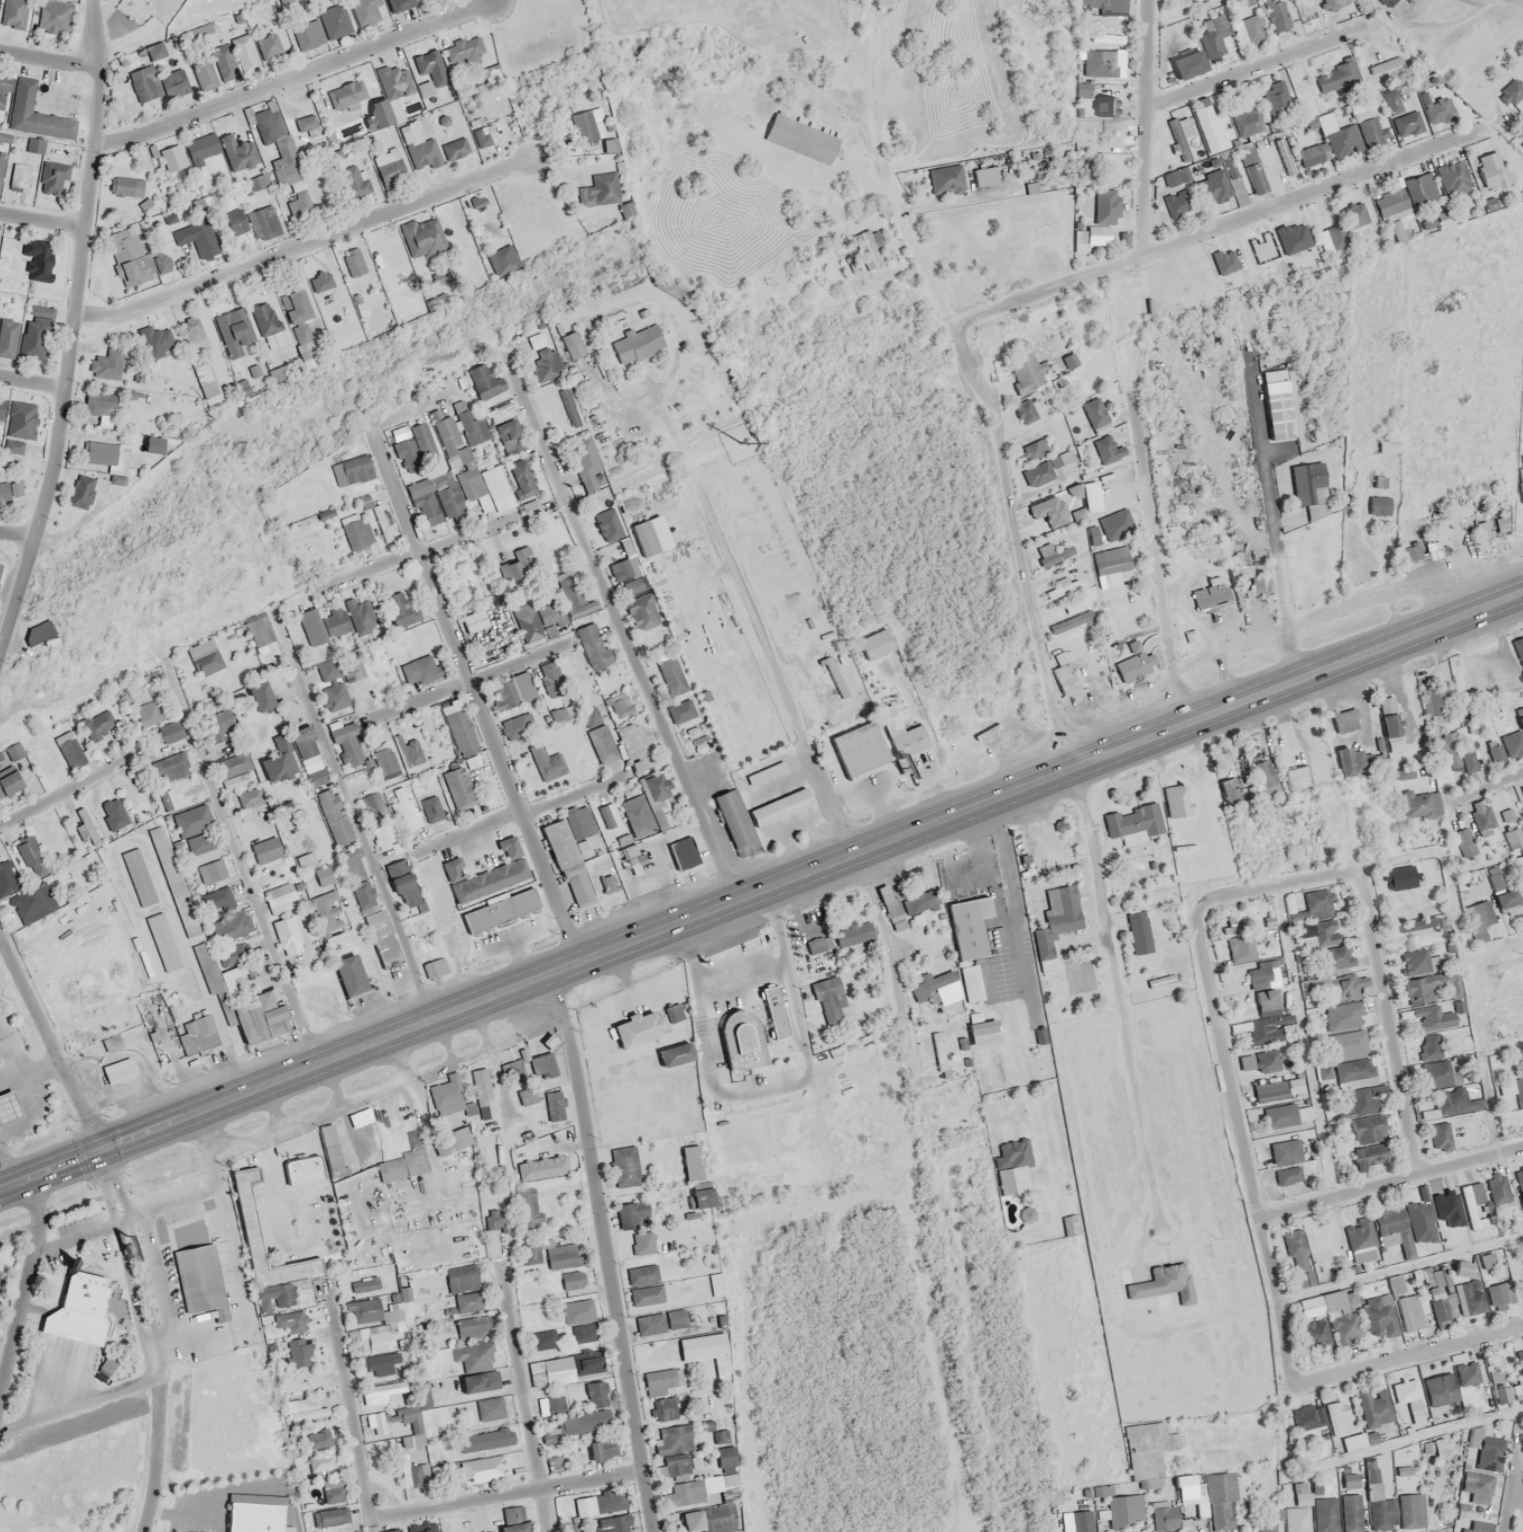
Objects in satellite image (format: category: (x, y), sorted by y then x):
road: (1522, 0)
building: (1385, 2)
building: (400, 4)
building: (1101, 7)
building: (365, 11)
building: (15, 13)
building: (1276, 15)
building: (54, 16)
building: (334, 21)
building: (1246, 29)
building: (308, 34)
building: (1212, 35)
building: (1106, 39)
building: (462, 49)
building: (245, 53)
road: (43, 57)
building: (426, 61)
building: (224, 62)
building: (1099, 63)
building: (1187, 64)
road: (1256, 67)
building: (203, 72)
road: (296, 73)
building: (1336, 76)
building: (144, 83)
building: (173, 83)
building: (4, 89)
building: (346, 93)
building: (1513, 95)
building: (1275, 97)
building: (1104, 106)
building: (35, 114)
building: (1400, 116)
building: (268, 122)
building: (1246, 122)
road: (1145, 128)
building: (1208, 128)
building: (409, 132)
building: (1355, 133)
building: (202, 146)
building: (454, 148)
building: (238, 152)
building: (1312, 154)
building: (386, 157)
building: (172, 158)
building: (1489, 169)
building: (287, 175)
building: (20, 176)
building: (985, 176)
building: (1175, 176)
building: (52, 178)
building: (1453, 178)
building: (945, 179)
building: (259, 181)
building: (354, 182)
building: (126, 186)
building: (1419, 188)
building: (599, 189)
building: (1215, 189)
building: (1390, 201)
building: (1104, 207)
building: (1354, 215)
road: (43, 219)
building: (235, 221)
building: (265, 222)
building: (1027, 222)
road: (1222, 227)
building: (198, 237)
building: (427, 239)
building: (1331, 239)
road: (307, 243)
building: (870, 251)
building: (130, 257)
building: (38, 259)
building: (357, 260)
building: (264, 318)
building: (191, 328)
building: (299, 329)
road: (74, 330)
building: (233, 330)
building: (8, 337)
building: (34, 338)
building: (156, 342)
building: (572, 344)
building: (637, 344)
building: (542, 356)
building: (107, 364)
road: (980, 378)
road: (33, 380)
building: (484, 381)
building: (98, 403)
building: (2, 407)
building: (1093, 412)
building: (570, 413)
road: (405, 415)
building: (20, 425)
building: (509, 437)
building: (422, 440)
building: (153, 444)
building: (466, 447)
building: (1106, 449)
building: (101, 455)
building: (1043, 469)
building: (351, 470)
building: (1520, 473)
building: (589, 475)
building: (523, 478)
building: (1305, 482)
building: (81, 490)
building: (5, 493)
building: (432, 502)
building: (1378, 505)
building: (1049, 511)
building: (381, 518)
road: (1273, 521)
building: (1114, 524)
road: (21, 527)
building: (297, 533)
building: (1413, 551)
road: (422, 552)
building: (1053, 554)
building: (1110, 560)
road: (1156, 560)
building: (0, 567)
building: (517, 567)
building: (1239, 568)
building: (626, 570)
building: (1062, 587)
building: (1210, 596)
building: (1061, 608)
building: (399, 609)
building: (581, 609)
building: (641, 612)
building: (363, 618)
building: (540, 619)
road: (754, 620)
building: (474, 621)
building: (1070, 622)
building: (335, 623)
building: (312, 627)
building: (38, 632)
road: (622, 634)
building: (875, 644)
building: (592, 645)
building: (1518, 648)
building: (205, 657)
building: (1132, 667)
building: (421, 670)
building: (1064, 675)
building: (670, 676)
road: (470, 682)
building: (552, 682)
building: (331, 686)
building: (253, 690)
building: (512, 692)
road: (474, 695)
building: (1433, 703)
building: (675, 707)
building: (570, 710)
building: (147, 713)
building: (97, 724)
building: (1390, 724)
building: (512, 727)
building: (456, 729)
building: (171, 731)
building: (901, 734)
building: (1514, 741)
building: (349, 744)
building: (1448, 747)
building: (289, 753)
building: (851, 753)
building: (397, 755)
building: (539, 756)
building: (1345, 761)
building: (635, 766)
building: (169, 767)
building: (233, 770)
building: (1404, 774)
building: (317, 777)
building: (1295, 777)
road: (1487, 786)
building: (1522, 786)
building: (458, 787)
building: (1229, 791)
road: (64, 793)
building: (250, 796)
building: (659, 801)
building: (772, 801)
building: (1176, 801)
building: (433, 808)
building: (403, 809)
road: (522, 812)
building: (1481, 813)
building: (334, 816)
road: (354, 819)
building: (733, 821)
building: (378, 823)
building: (1133, 823)
building: (87, 827)
building: (1513, 837)
building: (1464, 842)
building: (200, 843)
building: (630, 854)
building: (301, 857)
building: (567, 861)
road: (238, 863)
building: (135, 872)
building: (485, 873)
building: (322, 876)
building: (1403, 877)
building: (6, 879)
building: (174, 881)
building: (357, 881)
building: (402, 883)
road: (761, 888)
building: (273, 892)
building: (217, 898)
building: (324, 900)
building: (1510, 901)
building: (1319, 902)
building: (493, 906)
building: (909, 907)
building: (968, 926)
building: (1419, 926)
road: (1201, 929)
building: (1477, 930)
building: (1139, 932)
building: (1321, 933)
building: (854, 934)
building: (287, 935)
building: (160, 938)
building: (335, 941)
building: (1238, 943)
building: (384, 948)
building: (225, 953)
building: (1335, 959)
road: (1495, 960)
building: (1418, 962)
building: (430, 964)
building: (343, 970)
building: (1263, 974)
building: (931, 982)
building: (971, 982)
building: (1337, 987)
building: (1409, 988)
building: (707, 989)
road: (1121, 1000)
building: (1266, 1000)
building: (1343, 1016)
building: (1431, 1018)
building: (262, 1019)
building: (630, 1024)
building: (196, 1030)
building: (982, 1030)
building: (1256, 1030)
building: (155, 1037)
road: (50, 1042)
building: (674, 1054)
building: (1350, 1059)
building: (1262, 1061)
building: (542, 1066)
building: (118, 1071)
building: (1441, 1073)
building: (1271, 1092)
building: (1519, 1092)
building: (480, 1093)
building: (1, 1100)
building: (449, 1100)
building: (551, 1102)
building: (1430, 1113)
building: (1279, 1116)
building: (1, 1118)
building: (1368, 1128)
building: (1440, 1136)
building: (452, 1140)
traffic signals: (101, 1148)
building: (1285, 1151)
building: (1370, 1155)
building: (407, 1158)
building: (642, 1161)
building: (1015, 1174)
building: (1288, 1175)
road: (1392, 1180)
building: (1519, 1182)
building: (701, 1194)
building: (1475, 1205)
road: (163, 1209)
building: (248, 1221)
building: (1407, 1226)
building: (1360, 1240)
building: (642, 1243)
road: (605, 1250)
building: (557, 1253)
building: (1299, 1258)
road: (138, 1264)
road: (125, 1266)
building: (1461, 1269)
building: (637, 1270)
building: (456, 1276)
building: (199, 1278)
building: (572, 1279)
building: (1163, 1283)
building: (363, 1285)
building: (1521, 1285)
road: (26, 1290)
building: (1500, 1294)
building: (652, 1295)
building: (1440, 1297)
building: (1406, 1301)
building: (1473, 1302)
building: (1310, 1307)
building: (572, 1308)
building: (372, 1311)
building: (1379, 1316)
building: (645, 1320)
building: (289, 1323)
building: (472, 1327)
building: (1345, 1327)
building: (584, 1332)
building: (1316, 1336)
building: (374, 1338)
building: (544, 1340)
road: (1424, 1351)
building: (298, 1352)
building: (277, 1354)
building: (473, 1357)
building: (1520, 1361)
building: (590, 1363)
building: (721, 1365)
building: (557, 1370)
building: (1468, 1374)
building: (479, 1381)
building: (662, 1381)
building: (1440, 1389)
building: (383, 1392)
building: (1511, 1392)
building: (597, 1394)
building: (1483, 1398)
road: (525, 1400)
building: (555, 1404)
building: (487, 1405)
building: (1409, 1405)
building: (307, 1409)
building: (665, 1409)
road: (78, 1410)
road: (351, 1410)
building: (1335, 1418)
building: (584, 1422)
building: (378, 1424)
building: (549, 1431)
building: (318, 1439)
building: (483, 1440)
building: (660, 1442)
building: (1436, 1447)
building: (603, 1449)
building: (1489, 1453)
road: (157, 1458)
building: (725, 1459)
building: (517, 1462)
building: (676, 1465)
building: (477, 1470)
building: (1476, 1487)
building: (729, 1488)
building: (1379, 1489)
building: (682, 1494)
road: (505, 1495)
building: (606, 1502)
building: (1221, 1502)
building: (582, 1503)
road: (1508, 1503)
building: (1124, 1509)
building: (1410, 1511)
building: (330, 1517)
building: (692, 1521)
building: (513, 1528)
building: (387, 1529)
building: (239, 1531)
building: (611, 1531)
building: (1082, 1531)
building: (1296, 1531)

